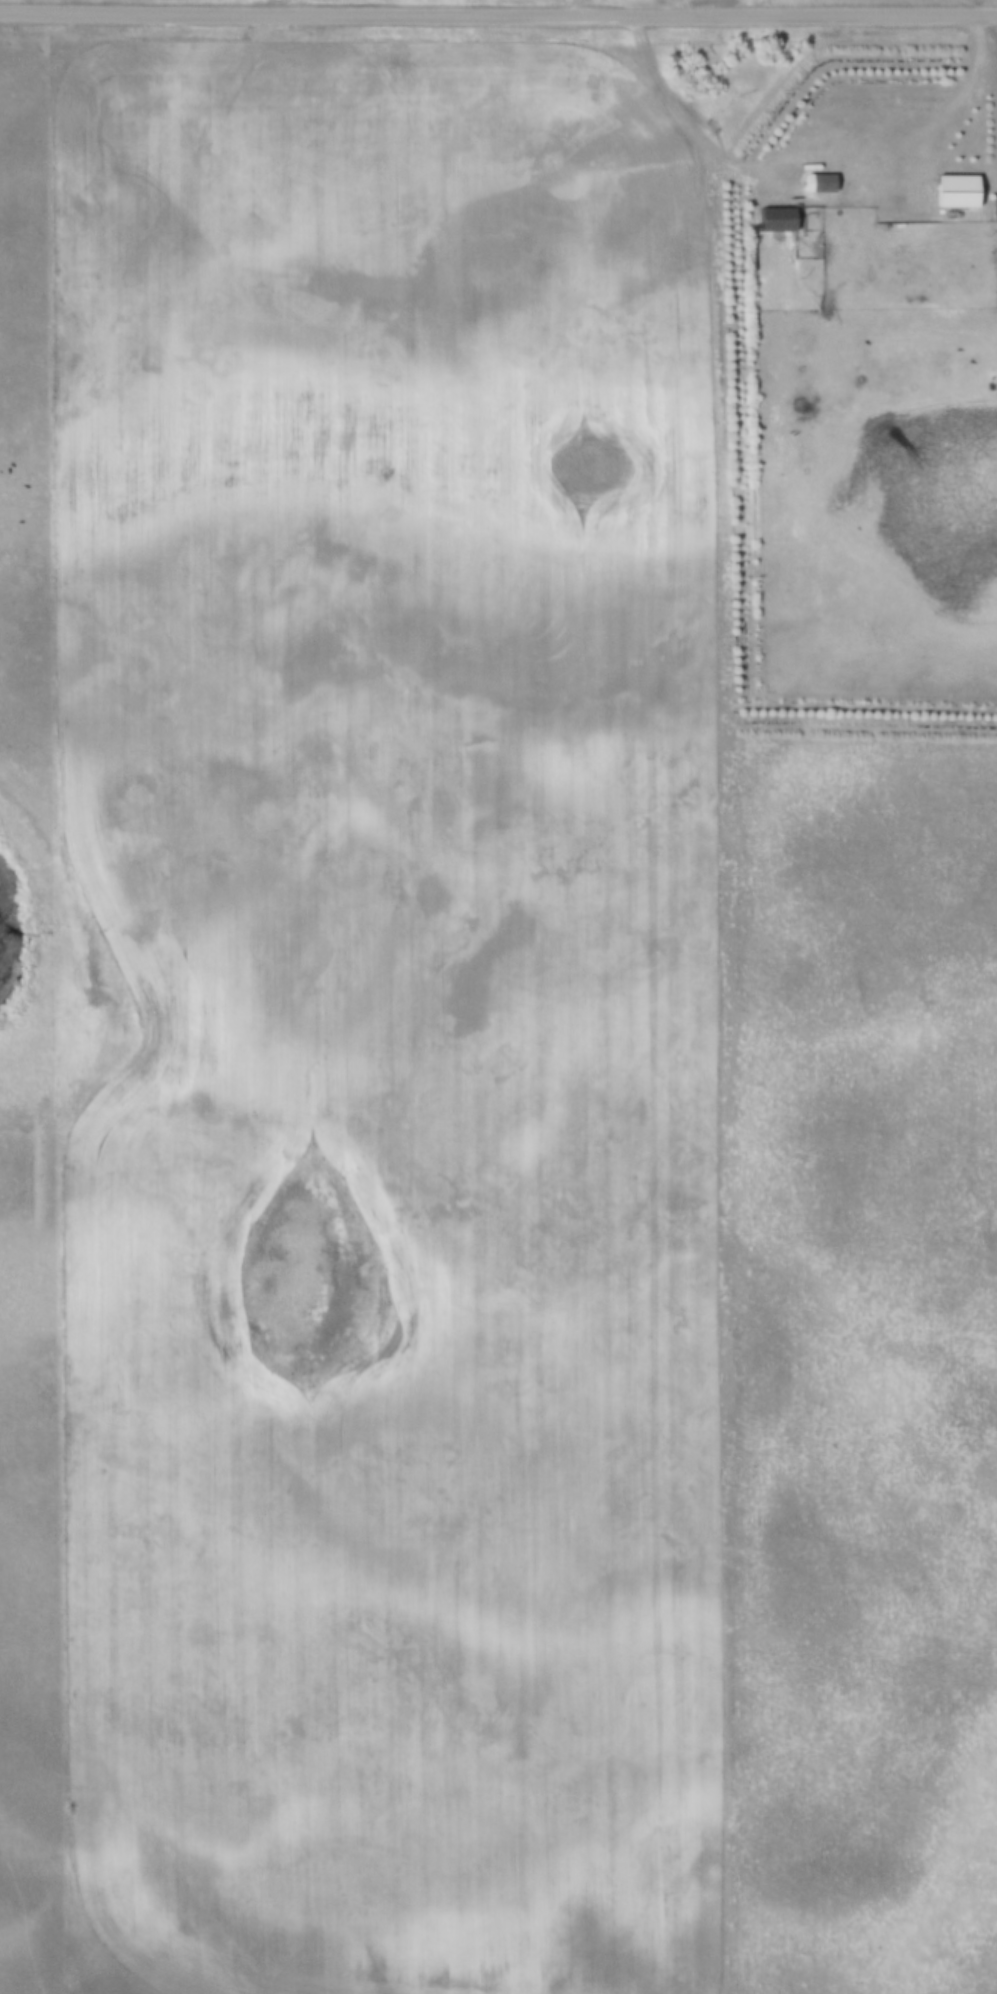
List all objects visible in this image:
road: (576, 6)
road: (498, 12)
building: (825, 185)
building: (779, 222)

